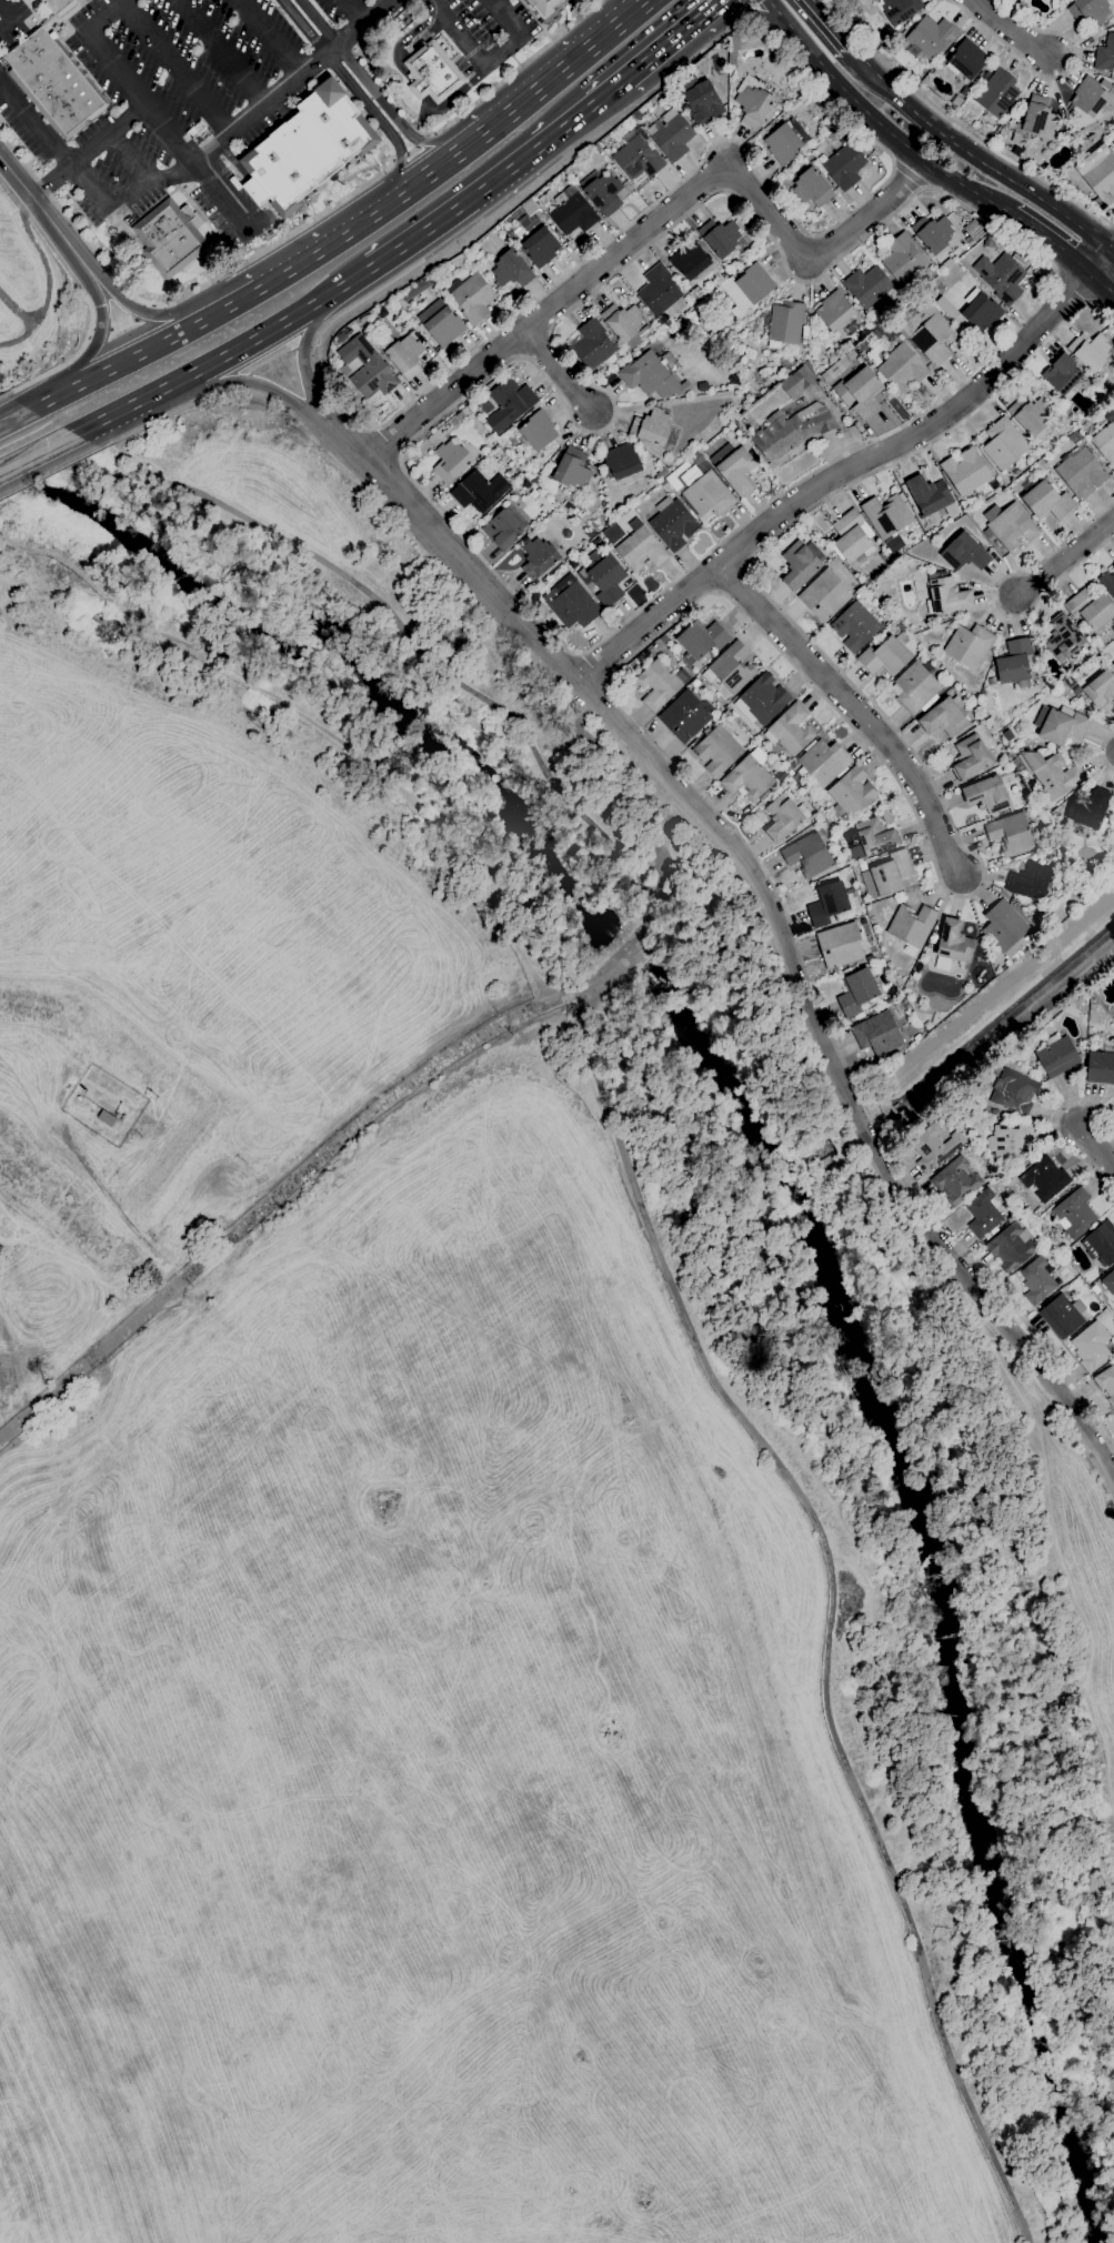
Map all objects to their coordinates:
building: (1024, 0)
road: (743, 1)
road: (750, 2)
road: (745, 3)
building: (545, 6)
building: (60, 7)
road: (614, 7)
road: (707, 7)
road: (746, 7)
building: (897, 10)
building: (1088, 10)
road: (355, 11)
building: (575, 11)
road: (751, 13)
road: (746, 14)
road: (821, 16)
road: (825, 16)
road: (11, 19)
parking lot: (11, 21)
road: (746, 23)
parking lot: (483, 29)
road: (1010, 30)
road: (265, 39)
building: (930, 39)
road: (842, 41)
road: (662, 44)
building: (722, 44)
road: (222, 51)
building: (732, 51)
building: (1105, 56)
building: (967, 61)
road: (492, 63)
road: (173, 67)
road: (518, 69)
road: (869, 71)
building: (432, 73)
road: (123, 76)
flagpole: (499, 78)
road: (543, 79)
road: (1051, 79)
flagpole: (455, 80)
road: (293, 81)
building: (54, 83)
building: (685, 83)
road: (368, 84)
road: (411, 84)
flagpole: (446, 88)
road: (606, 89)
road: (353, 92)
building: (996, 93)
parking lot: (184, 94)
building: (811, 95)
flagpole: (435, 97)
building: (1092, 97)
flagpole: (470, 101)
building: (752, 102)
building: (702, 103)
road: (840, 110)
building: (636, 115)
flagpole: (448, 119)
road: (875, 121)
building: (1035, 122)
road: (32, 127)
road: (957, 129)
building: (842, 130)
road: (104, 135)
building: (671, 135)
building: (833, 137)
road: (423, 141)
building: (785, 142)
building: (595, 149)
road: (411, 150)
building: (309, 151)
building: (636, 157)
road: (399, 158)
road: (130, 160)
road: (391, 161)
building: (844, 167)
road: (996, 173)
building: (1098, 173)
road: (423, 177)
road: (907, 177)
road: (47, 181)
road: (251, 187)
road: (149, 188)
road: (478, 188)
building: (811, 189)
road: (89, 193)
building: (602, 193)
road: (218, 195)
building: (573, 213)
road: (43, 214)
building: (525, 218)
road: (658, 221)
building: (932, 233)
building: (720, 238)
building: (170, 239)
building: (990, 241)
road: (1051, 242)
road: (330, 243)
building: (540, 248)
road: (1113, 251)
road: (42, 259)
building: (903, 260)
building: (692, 262)
building: (510, 271)
building: (1001, 278)
road: (1103, 282)
building: (747, 286)
building: (866, 286)
road: (1072, 289)
building: (415, 290)
building: (659, 291)
road: (188, 293)
building: (472, 298)
road: (231, 306)
building: (834, 311)
road: (143, 312)
building: (981, 312)
road: (138, 313)
road: (29, 322)
building: (363, 322)
road: (121, 324)
building: (441, 324)
building: (623, 324)
building: (783, 325)
building: (702, 326)
road: (98, 329)
building: (885, 331)
road: (263, 333)
building: (805, 333)
road: (99, 335)
building: (664, 335)
building: (933, 339)
building: (592, 344)
road: (312, 345)
road: (302, 346)
building: (1113, 349)
building: (1090, 351)
building: (403, 353)
building: (850, 355)
road: (134, 356)
road: (303, 360)
building: (859, 360)
road: (67, 361)
road: (271, 361)
building: (368, 369)
building: (902, 369)
building: (834, 370)
road: (556, 372)
building: (1062, 374)
building: (649, 376)
road: (239, 381)
building: (797, 381)
road: (242, 382)
road: (230, 390)
building: (860, 393)
road: (1, 395)
road: (47, 400)
building: (509, 402)
building: (483, 405)
road: (116, 412)
building: (1030, 415)
road: (13, 416)
road: (161, 416)
building: (460, 416)
building: (651, 429)
building: (791, 431)
building: (536, 433)
building: (1074, 437)
road: (391, 440)
building: (1105, 442)
building: (1004, 444)
road: (36, 452)
building: (451, 461)
building: (621, 462)
building: (734, 467)
building: (548, 469)
road: (850, 469)
building: (572, 470)
building: (966, 472)
building: (1081, 472)
road: (49, 473)
building: (662, 473)
building: (536, 479)
building: (700, 487)
building: (479, 492)
building: (533, 494)
building: (929, 495)
building: (1046, 502)
building: (543, 504)
building: (603, 506)
building: (570, 507)
building: (886, 515)
building: (583, 519)
building: (604, 521)
building: (673, 523)
building: (1008, 525)
building: (504, 529)
building: (590, 533)
building: (566, 534)
building: (612, 534)
building: (852, 537)
building: (599, 540)
building: (640, 550)
building: (964, 553)
building: (539, 557)
road: (1067, 557)
building: (799, 565)
building: (1113, 567)
building: (583, 579)
building: (606, 579)
building: (1107, 583)
building: (824, 596)
building: (946, 596)
road: (995, 599)
building: (571, 604)
building: (1090, 608)
road: (638, 611)
building: (855, 627)
building: (1063, 638)
building: (701, 642)
building: (969, 646)
building: (885, 655)
river: (338, 661)
building: (1015, 663)
building: (1113, 664)
road: (593, 666)
building: (731, 668)
road: (797, 672)
building: (695, 683)
building: (660, 684)
building: (915, 688)
building: (1075, 690)
building: (1100, 690)
building: (761, 700)
road: (853, 710)
building: (685, 716)
building: (944, 717)
building: (1060, 726)
building: (791, 731)
building: (717, 751)
road: (1103, 752)
building: (970, 758)
building: (821, 765)
building: (1051, 774)
building: (749, 776)
building: (990, 793)
building: (851, 794)
road: (624, 796)
building: (1088, 808)
building: (1113, 816)
building: (784, 817)
building: (1010, 834)
building: (873, 839)
building: (807, 855)
building: (886, 876)
building: (1030, 882)
building: (827, 904)
road: (764, 912)
building: (912, 925)
building: (1003, 926)
building: (840, 946)
building: (952, 946)
building: (1012, 949)
river: (630, 952)
road: (579, 992)
building: (856, 993)
building: (887, 1003)
building: (927, 1025)
building: (877, 1034)
building: (1056, 1056)
building: (1100, 1068)
building: (1014, 1093)
building: (1113, 1098)
building: (79, 1099)
building: (993, 1113)
building: (123, 1116)
building: (107, 1119)
road: (1051, 1127)
building: (1010, 1143)
building: (933, 1146)
road: (1101, 1149)
building: (1044, 1179)
building: (956, 1181)
road: (633, 1184)
road: (272, 1204)
road: (112, 1205)
building: (983, 1214)
building: (1074, 1214)
building: (1046, 1241)
building: (1101, 1244)
building: (1011, 1247)
building: (1037, 1280)
building: (1108, 1283)
building: (1063, 1316)
building: (1092, 1347)
building: (1106, 1384)
river: (940, 1579)

